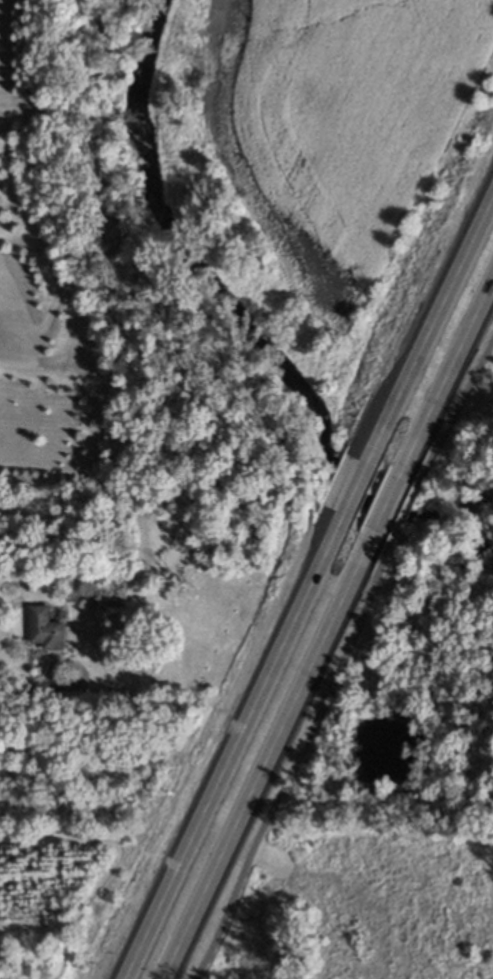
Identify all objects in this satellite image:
road: (429, 326)
road: (449, 381)
road: (346, 499)
road: (388, 507)
building: (26, 584)
building: (42, 627)
road: (341, 658)
building: (133, 668)
road: (224, 758)
road: (266, 760)

